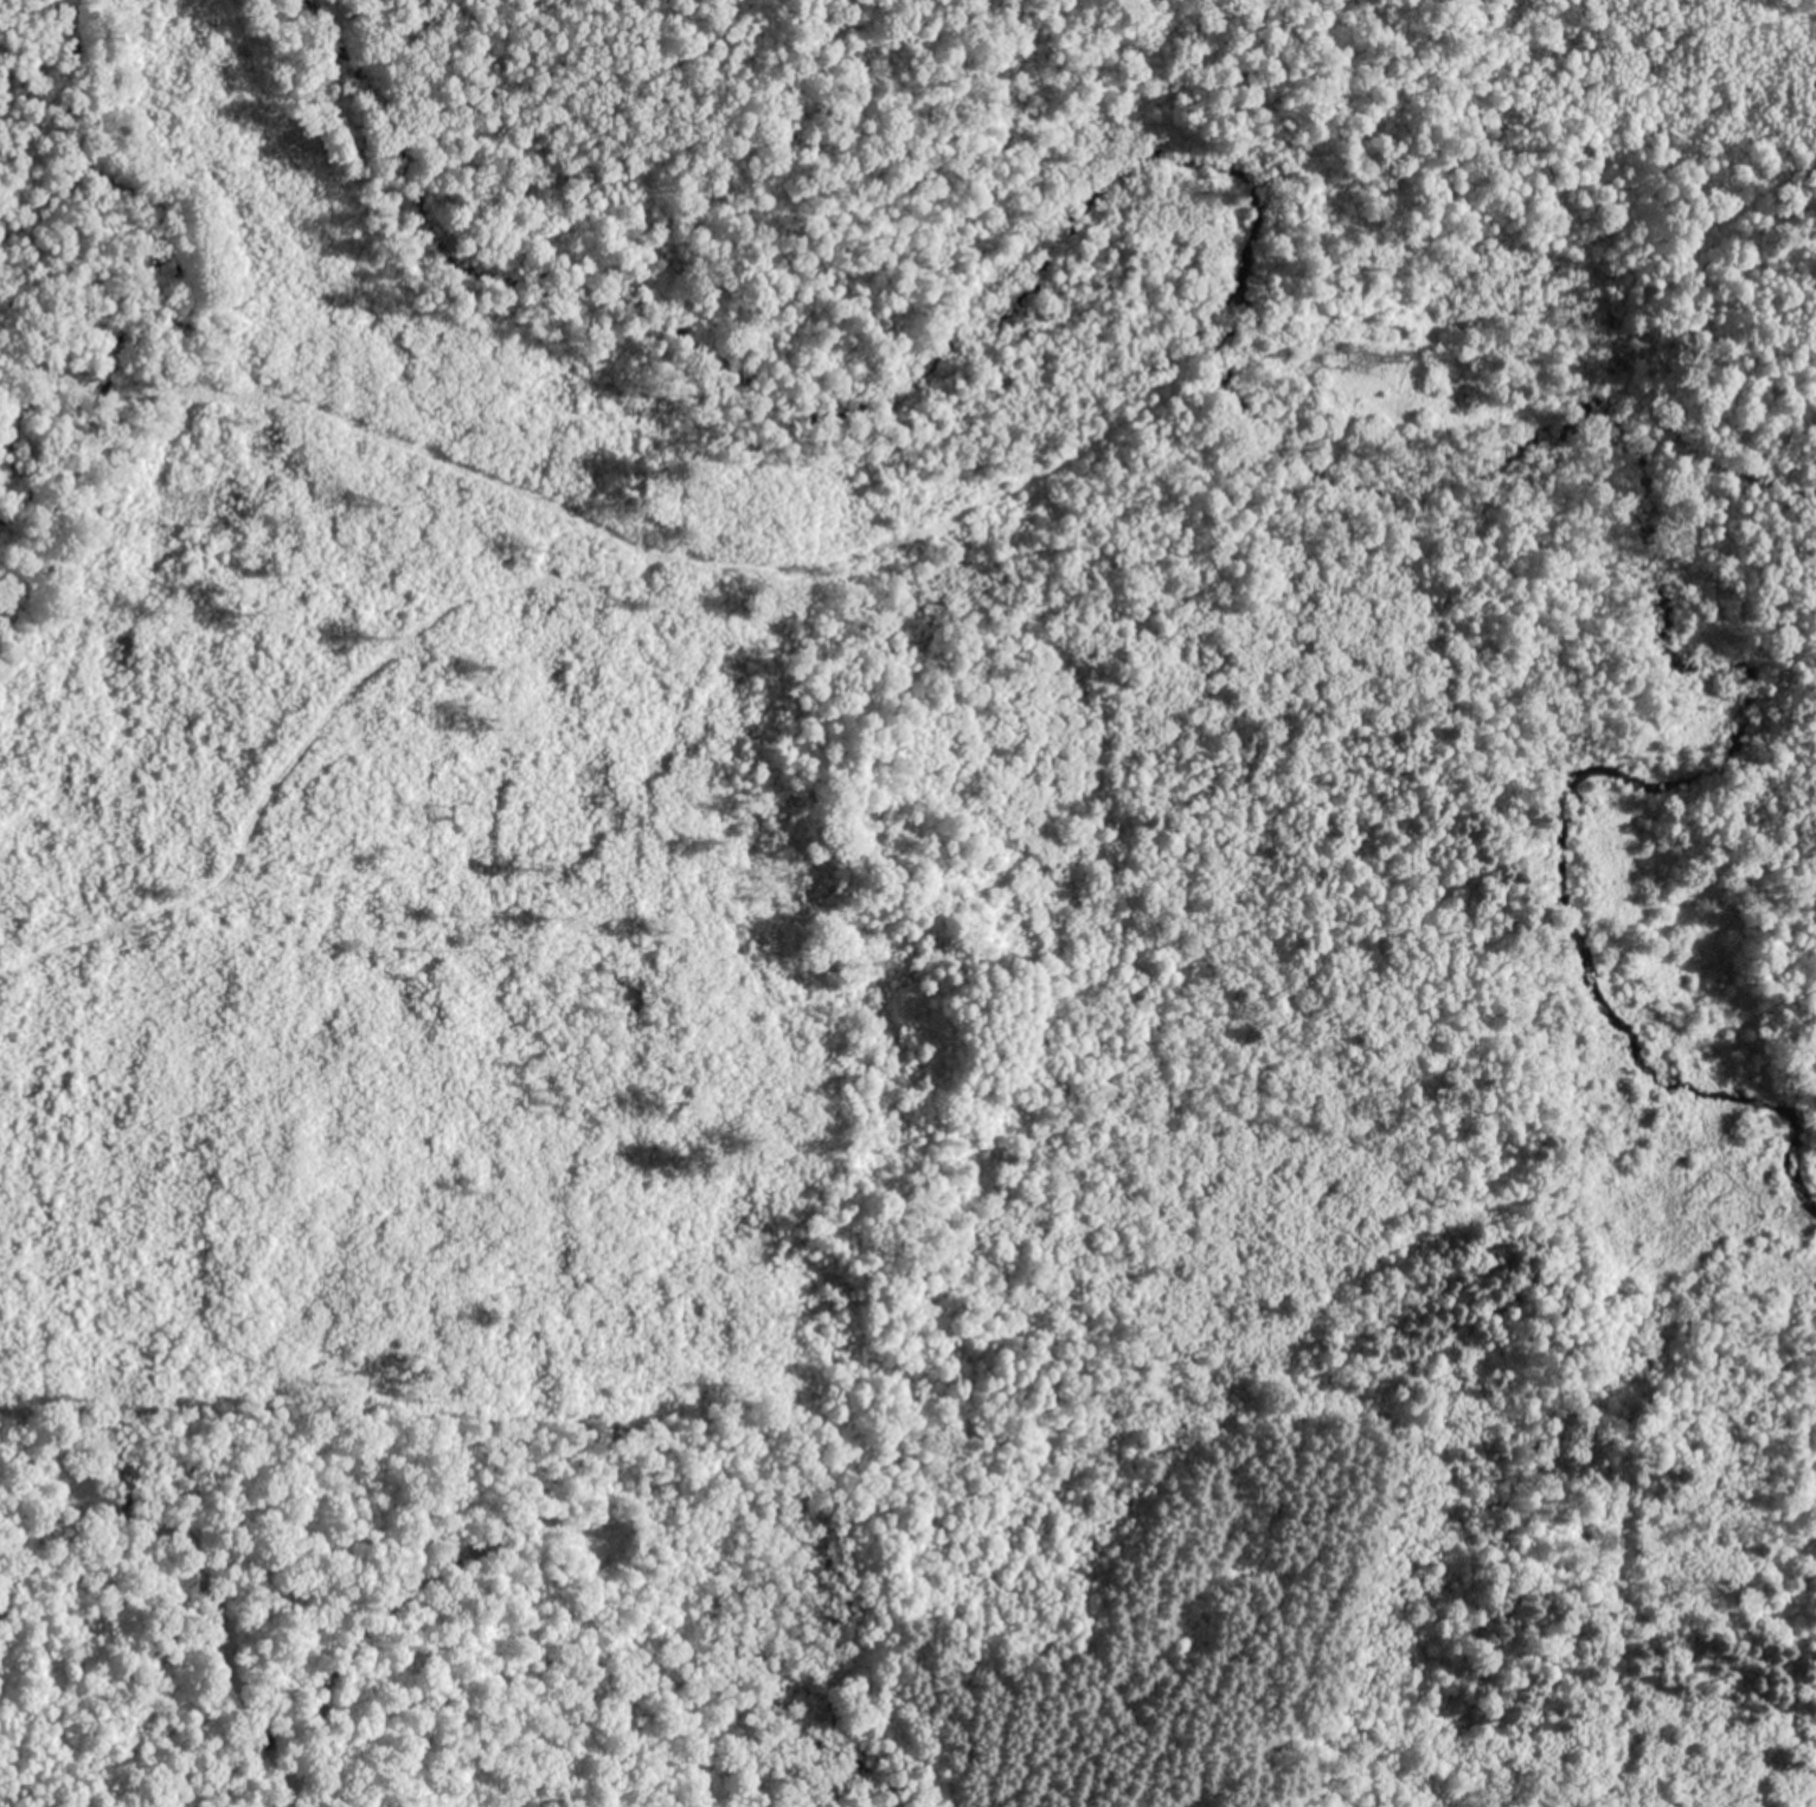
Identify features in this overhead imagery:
road: (1757, 13)
road: (1469, 27)

